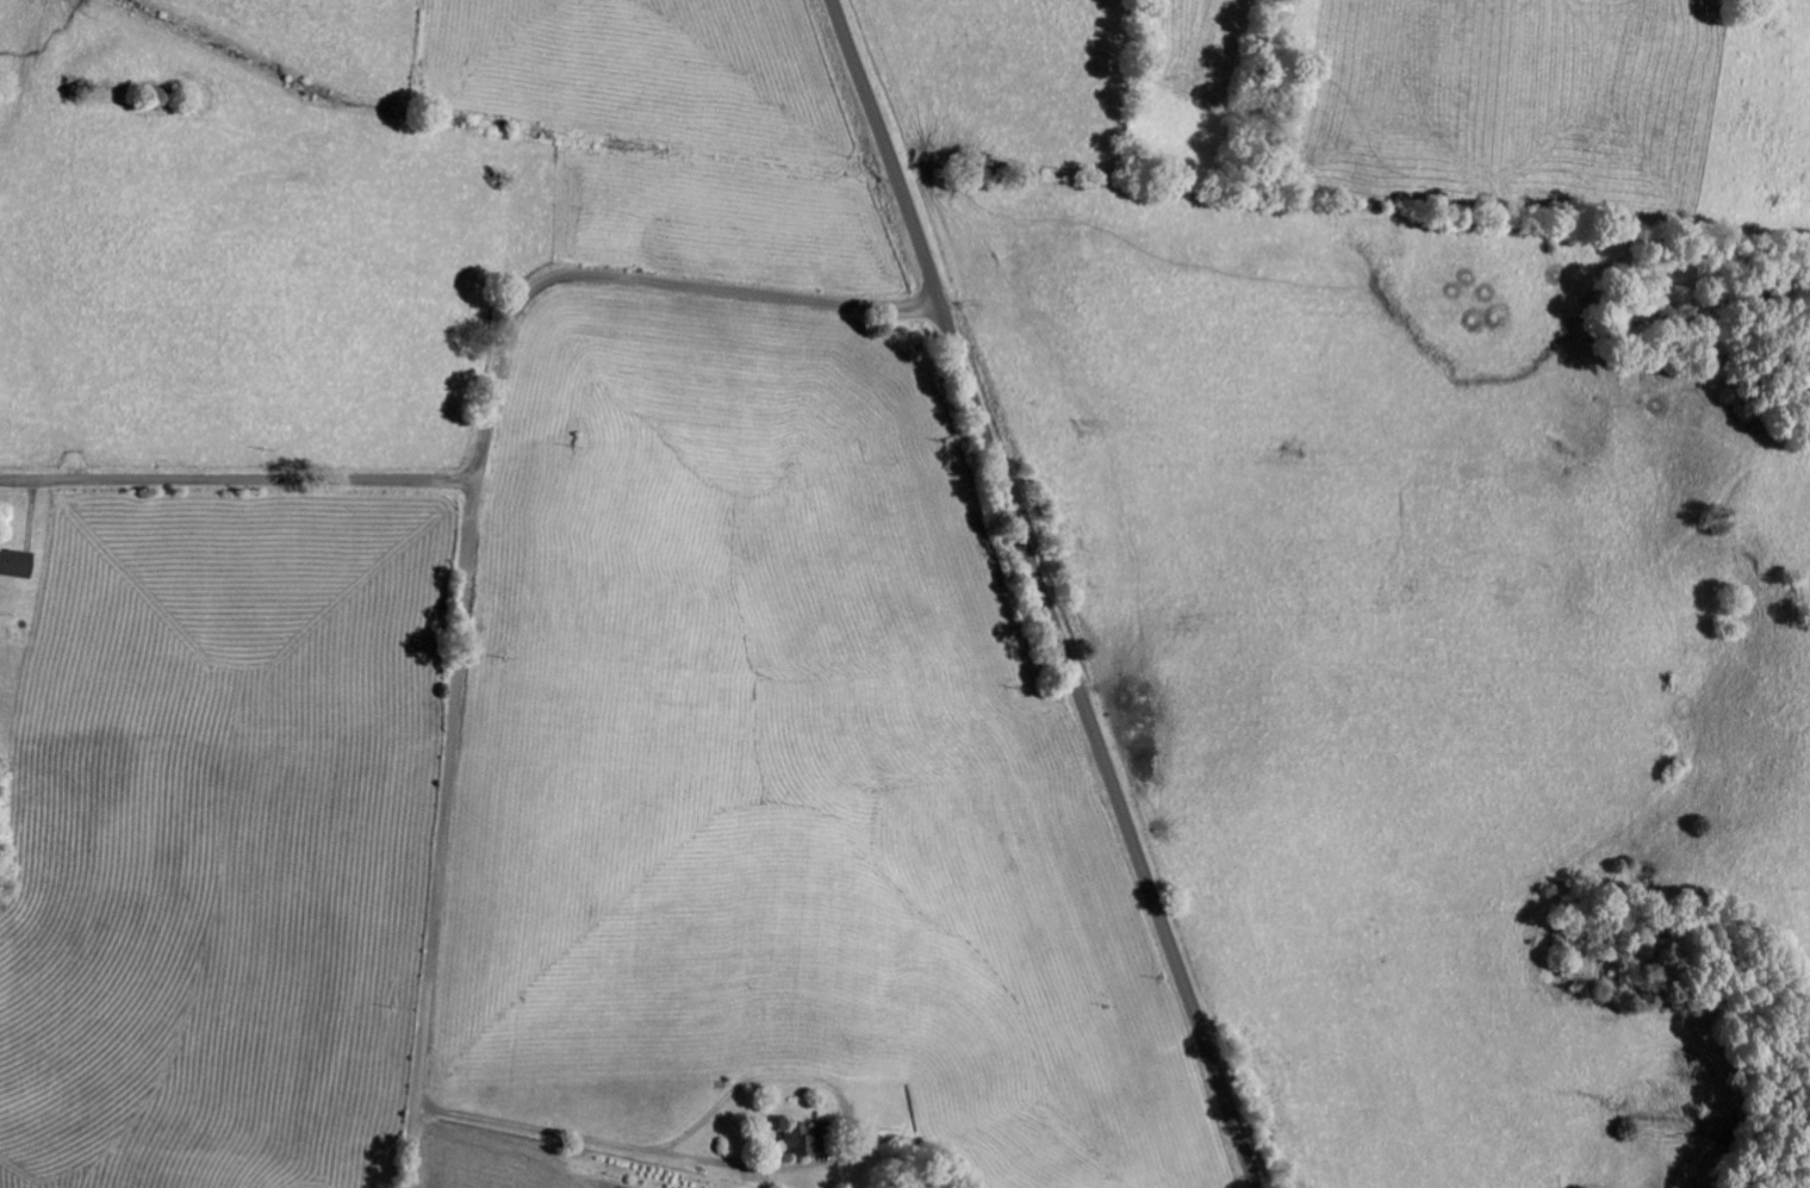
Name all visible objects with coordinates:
road: (236, 480)
road: (467, 528)
building: (11, 568)
road: (1040, 595)
building: (792, 1144)

